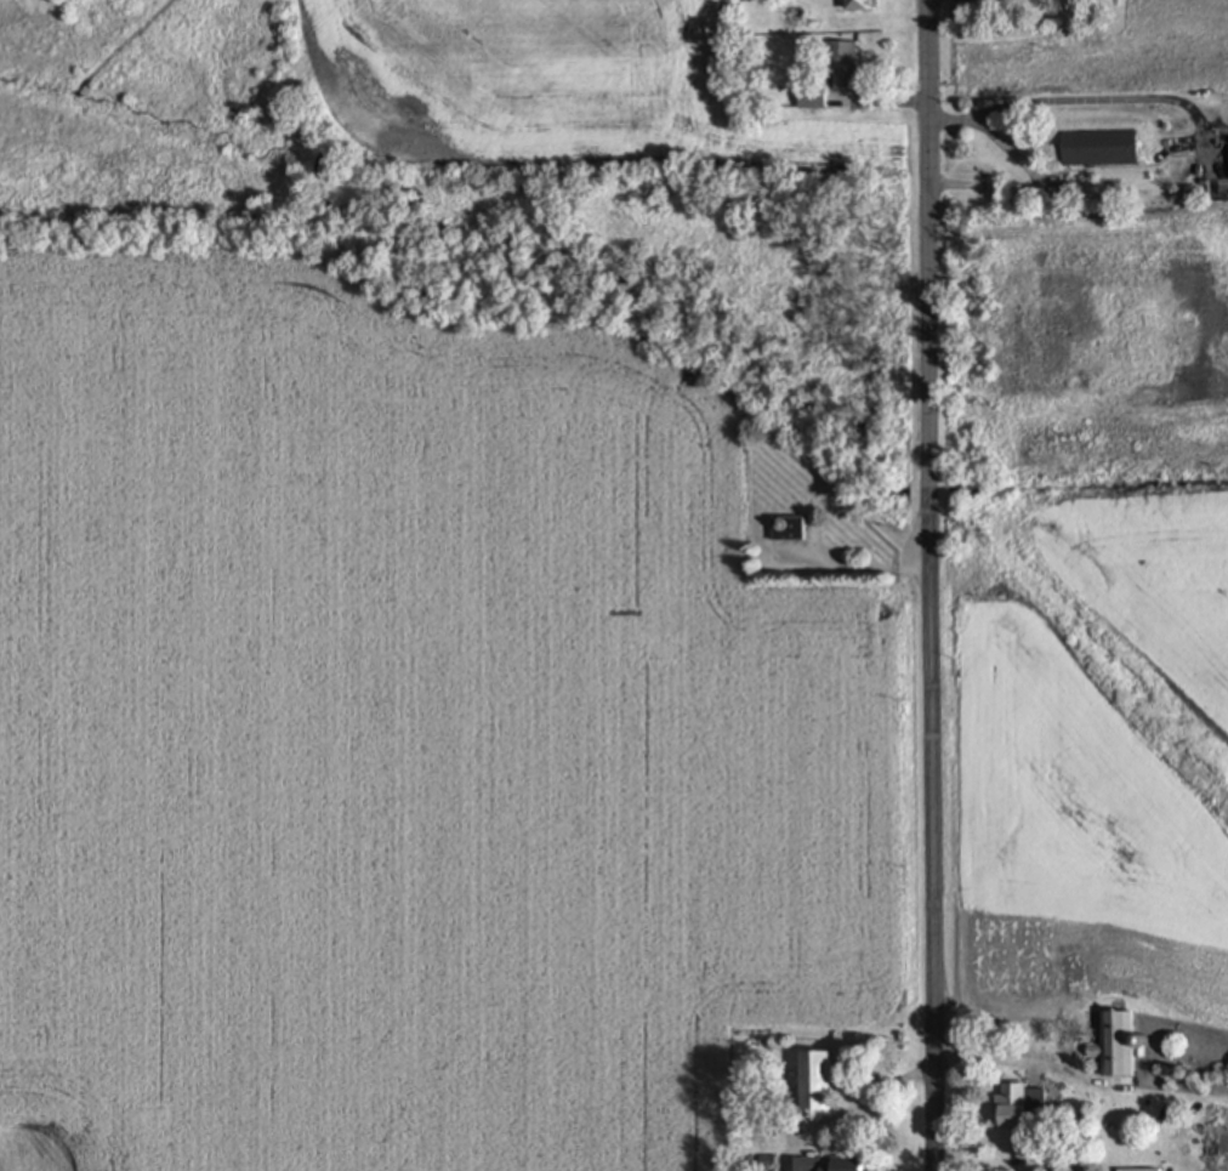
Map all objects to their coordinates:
building: (855, 5)
building: (843, 67)
building: (811, 98)
road: (927, 113)
road: (993, 135)
building: (1099, 149)
building: (788, 530)
road: (929, 699)
building: (1116, 1045)
building: (814, 1082)
building: (1011, 1107)
building: (824, 1165)
building: (1138, 1170)

